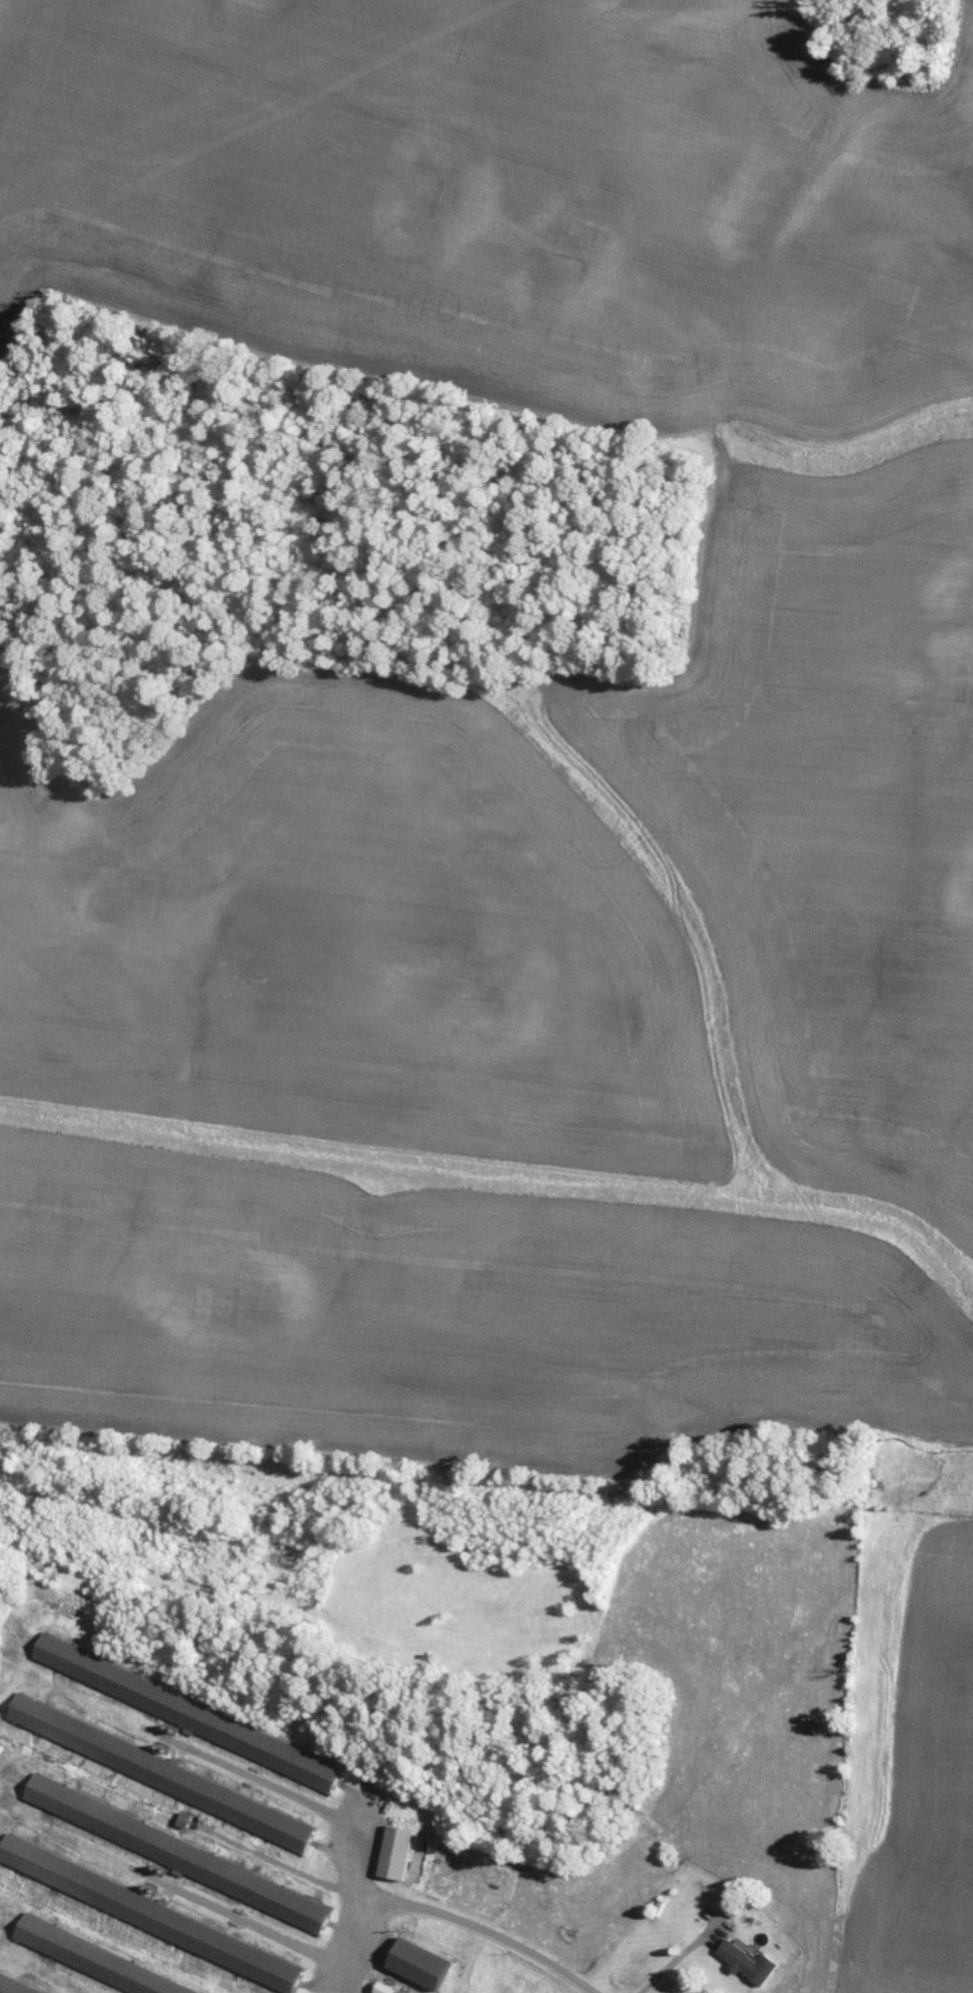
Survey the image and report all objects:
building: (194, 1714)
building: (156, 1770)
building: (189, 1821)
building: (404, 1854)
building: (183, 1855)
building: (156, 1916)
building: (96, 1961)
building: (754, 1962)
building: (428, 1965)
building: (13, 1987)
building: (391, 1989)

